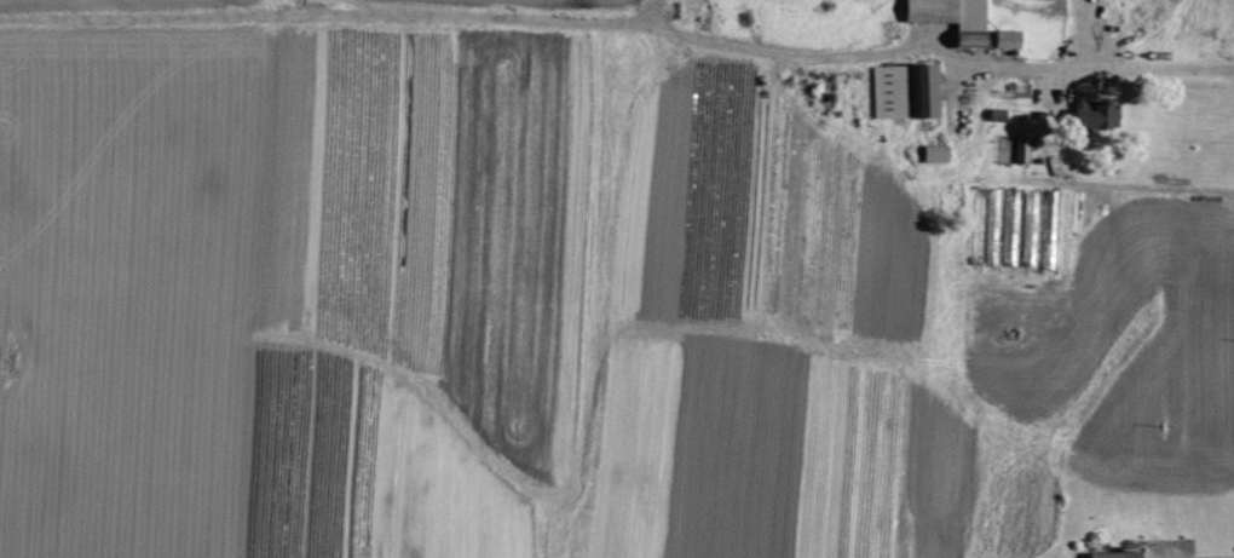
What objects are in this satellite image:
building: (941, 11)
building: (1003, 38)
road: (1038, 68)
building: (901, 90)
building: (1089, 115)
building: (1021, 149)
building: (934, 153)
building: (1111, 554)

